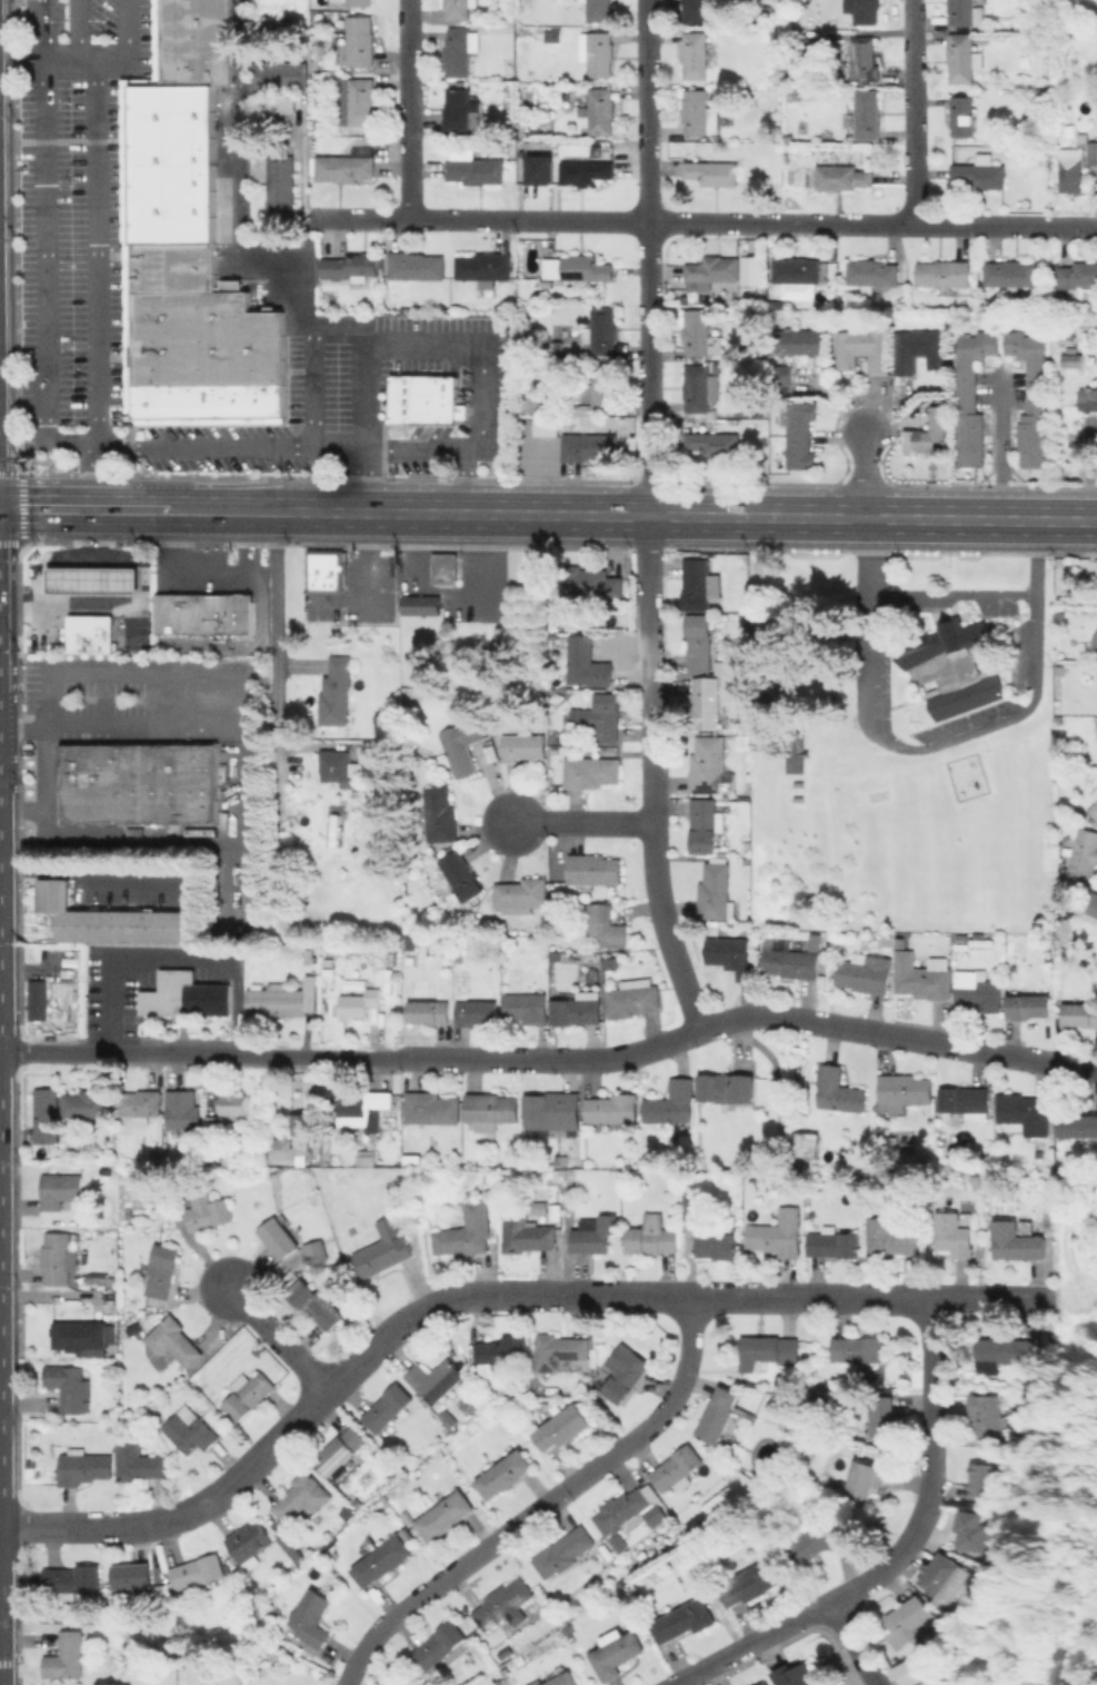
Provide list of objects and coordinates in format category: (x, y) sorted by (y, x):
road: (51, 1)
building: (359, 2)
building: (787, 2)
building: (190, 7)
building: (458, 9)
building: (599, 9)
building: (701, 10)
building: (771, 10)
building: (866, 11)
building: (966, 13)
building: (1008, 23)
road: (46, 29)
building: (190, 29)
road: (77, 31)
building: (554, 36)
building: (983, 38)
building: (360, 40)
road: (124, 46)
building: (459, 51)
building: (600, 53)
building: (696, 53)
building: (964, 58)
building: (865, 59)
road: (47, 62)
building: (190, 65)
building: (315, 65)
building: (273, 73)
building: (509, 75)
building: (774, 76)
building: (362, 100)
building: (275, 103)
building: (460, 106)
road: (409, 109)
building: (601, 110)
building: (699, 112)
road: (918, 112)
building: (866, 113)
building: (963, 115)
building: (491, 143)
building: (167, 162)
building: (1076, 165)
building: (346, 166)
building: (473, 167)
building: (537, 168)
building: (588, 169)
building: (712, 172)
building: (980, 172)
building: (842, 177)
building: (278, 181)
road: (705, 222)
road: (238, 238)
building: (351, 265)
building: (416, 265)
rooftop solar panel: (820, 265)
building: (168, 266)
building: (483, 267)
building: (578, 268)
building: (755, 269)
building: (797, 269)
building: (714, 270)
road: (42, 272)
building: (945, 272)
building: (871, 274)
building: (1010, 274)
building: (1078, 277)
road: (96, 286)
road: (10, 287)
building: (527, 310)
building: (602, 330)
building: (699, 333)
building: (199, 337)
building: (797, 340)
road: (419, 343)
building: (864, 349)
building: (921, 349)
building: (1068, 359)
building: (778, 374)
building: (602, 387)
building: (701, 388)
road: (359, 396)
building: (971, 396)
building: (1033, 396)
building: (422, 398)
building: (1086, 398)
building: (533, 402)
building: (202, 403)
building: (239, 403)
building: (266, 403)
building: (148, 404)
building: (178, 404)
building: (188, 404)
building: (220, 404)
building: (581, 409)
building: (545, 425)
building: (800, 435)
building: (930, 435)
building: (714, 443)
building: (588, 446)
road: (225, 447)
road: (1004, 448)
road: (470, 450)
road: (865, 474)
road: (463, 482)
road: (84, 508)
road: (226, 511)
road: (293, 512)
road: (335, 513)
road: (556, 514)
road: (649, 518)
road: (921, 519)
road: (91, 534)
road: (96, 557)
building: (442, 567)
building: (329, 569)
building: (91, 579)
gas station: (91, 579)
building: (590, 581)
road: (370, 583)
building: (699, 585)
road: (271, 591)
parking lot: (356, 593)
road: (950, 598)
road: (84, 599)
building: (418, 604)
building: (202, 613)
parking lot: (131, 622)
building: (89, 633)
parking lot: (44, 634)
building: (1095, 640)
building: (699, 641)
building: (587, 663)
building: (734, 665)
building: (954, 665)
road: (133, 670)
building: (1096, 673)
building: (337, 691)
parking lot: (143, 697)
building: (706, 703)
building: (601, 716)
building: (1058, 720)
road: (111, 728)
building: (1095, 730)
road: (936, 743)
building: (463, 744)
building: (523, 745)
building: (796, 752)
building: (375, 753)
building: (708, 764)
building: (339, 766)
building: (591, 771)
building: (141, 782)
rooftop solar panel: (702, 786)
building: (1095, 794)
building: (1094, 809)
building: (440, 814)
road: (582, 822)
building: (705, 823)
building: (1083, 853)
road: (99, 870)
building: (594, 870)
building: (462, 874)
building: (716, 889)
building: (522, 892)
building: (1093, 903)
building: (112, 919)
building: (606, 924)
building: (817, 933)
building: (963, 938)
building: (887, 941)
building: (411, 942)
building: (730, 952)
building: (310, 954)
building: (460, 954)
building: (557, 957)
building: (391, 959)
building: (790, 962)
building: (610, 963)
building: (866, 972)
building: (926, 979)
building: (978, 990)
building: (187, 995)
building: (632, 997)
building: (39, 999)
building: (275, 999)
building: (360, 1002)
building: (528, 1005)
building: (1029, 1005)
road: (116, 1008)
building: (578, 1009)
building: (429, 1010)
building: (477, 1012)
building: (1080, 1013)
road: (554, 1058)
building: (727, 1087)
building: (839, 1089)
building: (904, 1091)
building: (966, 1100)
building: (672, 1102)
building: (86, 1103)
building: (233, 1103)
building: (140, 1104)
building: (432, 1107)
building: (612, 1108)
building: (183, 1110)
building: (363, 1110)
building: (489, 1110)
building: (552, 1113)
building: (1025, 1113)
building: (47, 1116)
building: (387, 1122)
building: (217, 1126)
building: (1077, 1126)
building: (312, 1136)
building: (806, 1143)
building: (371, 1160)
rooftop solar panel: (366, 1162)
building: (976, 1180)
building: (379, 1181)
building: (59, 1189)
building: (695, 1209)
building: (208, 1210)
building: (539, 1210)
building: (129, 1211)
building: (558, 1213)
building: (427, 1223)
building: (778, 1232)
building: (466, 1233)
building: (526, 1233)
building: (596, 1233)
building: (652, 1235)
building: (954, 1235)
building: (279, 1237)
building: (890, 1238)
building: (1016, 1240)
building: (832, 1242)
building: (717, 1245)
building: (387, 1247)
building: (317, 1250)
building: (56, 1257)
building: (160, 1269)
road: (486, 1295)
road: (1074, 1296)
building: (315, 1304)
building: (81, 1336)
road: (280, 1338)
building: (174, 1340)
building: (858, 1348)
building: (258, 1349)
building: (500, 1349)
building: (769, 1350)
building: (1004, 1351)
building: (555, 1352)
rooftop solar panel: (560, 1354)
rooftop solar panel: (566, 1355)
rooftop solar panel: (554, 1360)
rooftop solar panel: (546, 1368)
building: (625, 1371)
building: (437, 1378)
building: (69, 1386)
building: (248, 1394)
building: (388, 1406)
building: (718, 1415)
building: (985, 1415)
building: (882, 1416)
building: (562, 1427)
building: (191, 1431)
building: (340, 1450)
rooftop solar panel: (336, 1461)
building: (139, 1463)
building: (83, 1466)
building: (677, 1468)
road: (928, 1471)
building: (505, 1474)
building: (865, 1480)
building: (979, 1483)
building: (302, 1495)
road: (541, 1504)
building: (629, 1511)
building: (445, 1515)
building: (407, 1517)
building: (971, 1532)
building: (619, 1543)
building: (249, 1544)
building: (820, 1544)
building: (566, 1552)
building: (381, 1560)
building: (198, 1570)
building: (939, 1574)
building: (131, 1577)
building: (71, 1578)
building: (751, 1583)
building: (505, 1603)
building: (311, 1618)
building: (684, 1619)
building: (907, 1620)
building: (440, 1643)
road: (751, 1643)
road: (852, 1643)
building: (173, 1646)
building: (507, 1649)
building: (616, 1652)
building: (67, 1656)
building: (911, 1672)
building: (798, 1677)
building: (564, 1679)
road: (690, 1681)
building: (761, 1683)

